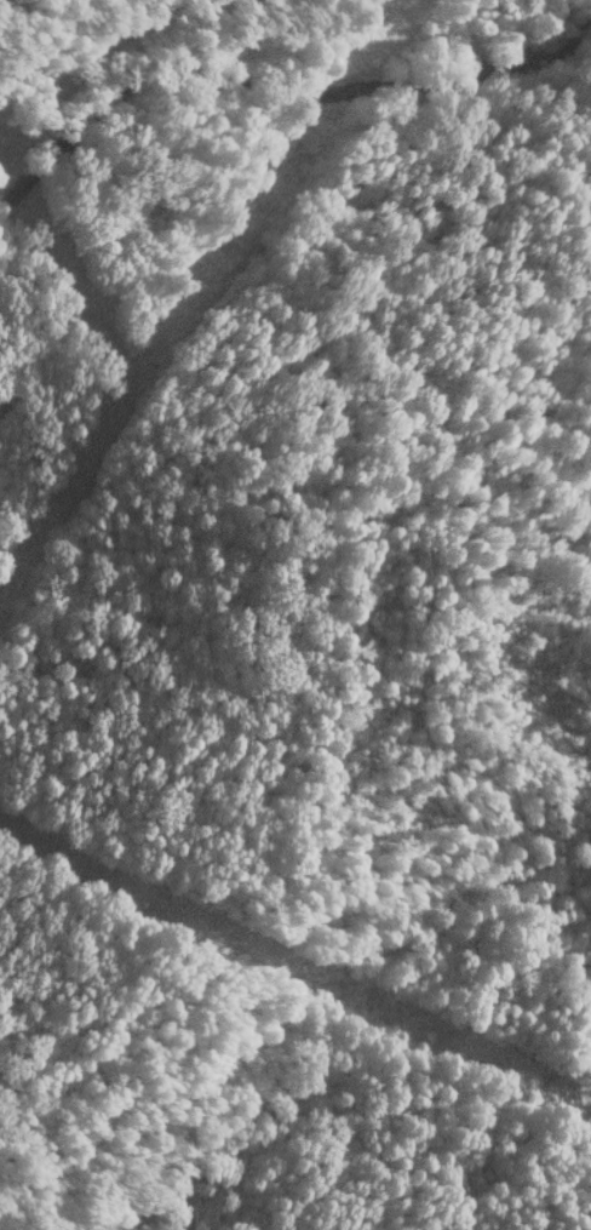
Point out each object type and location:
road: (67, 155)

